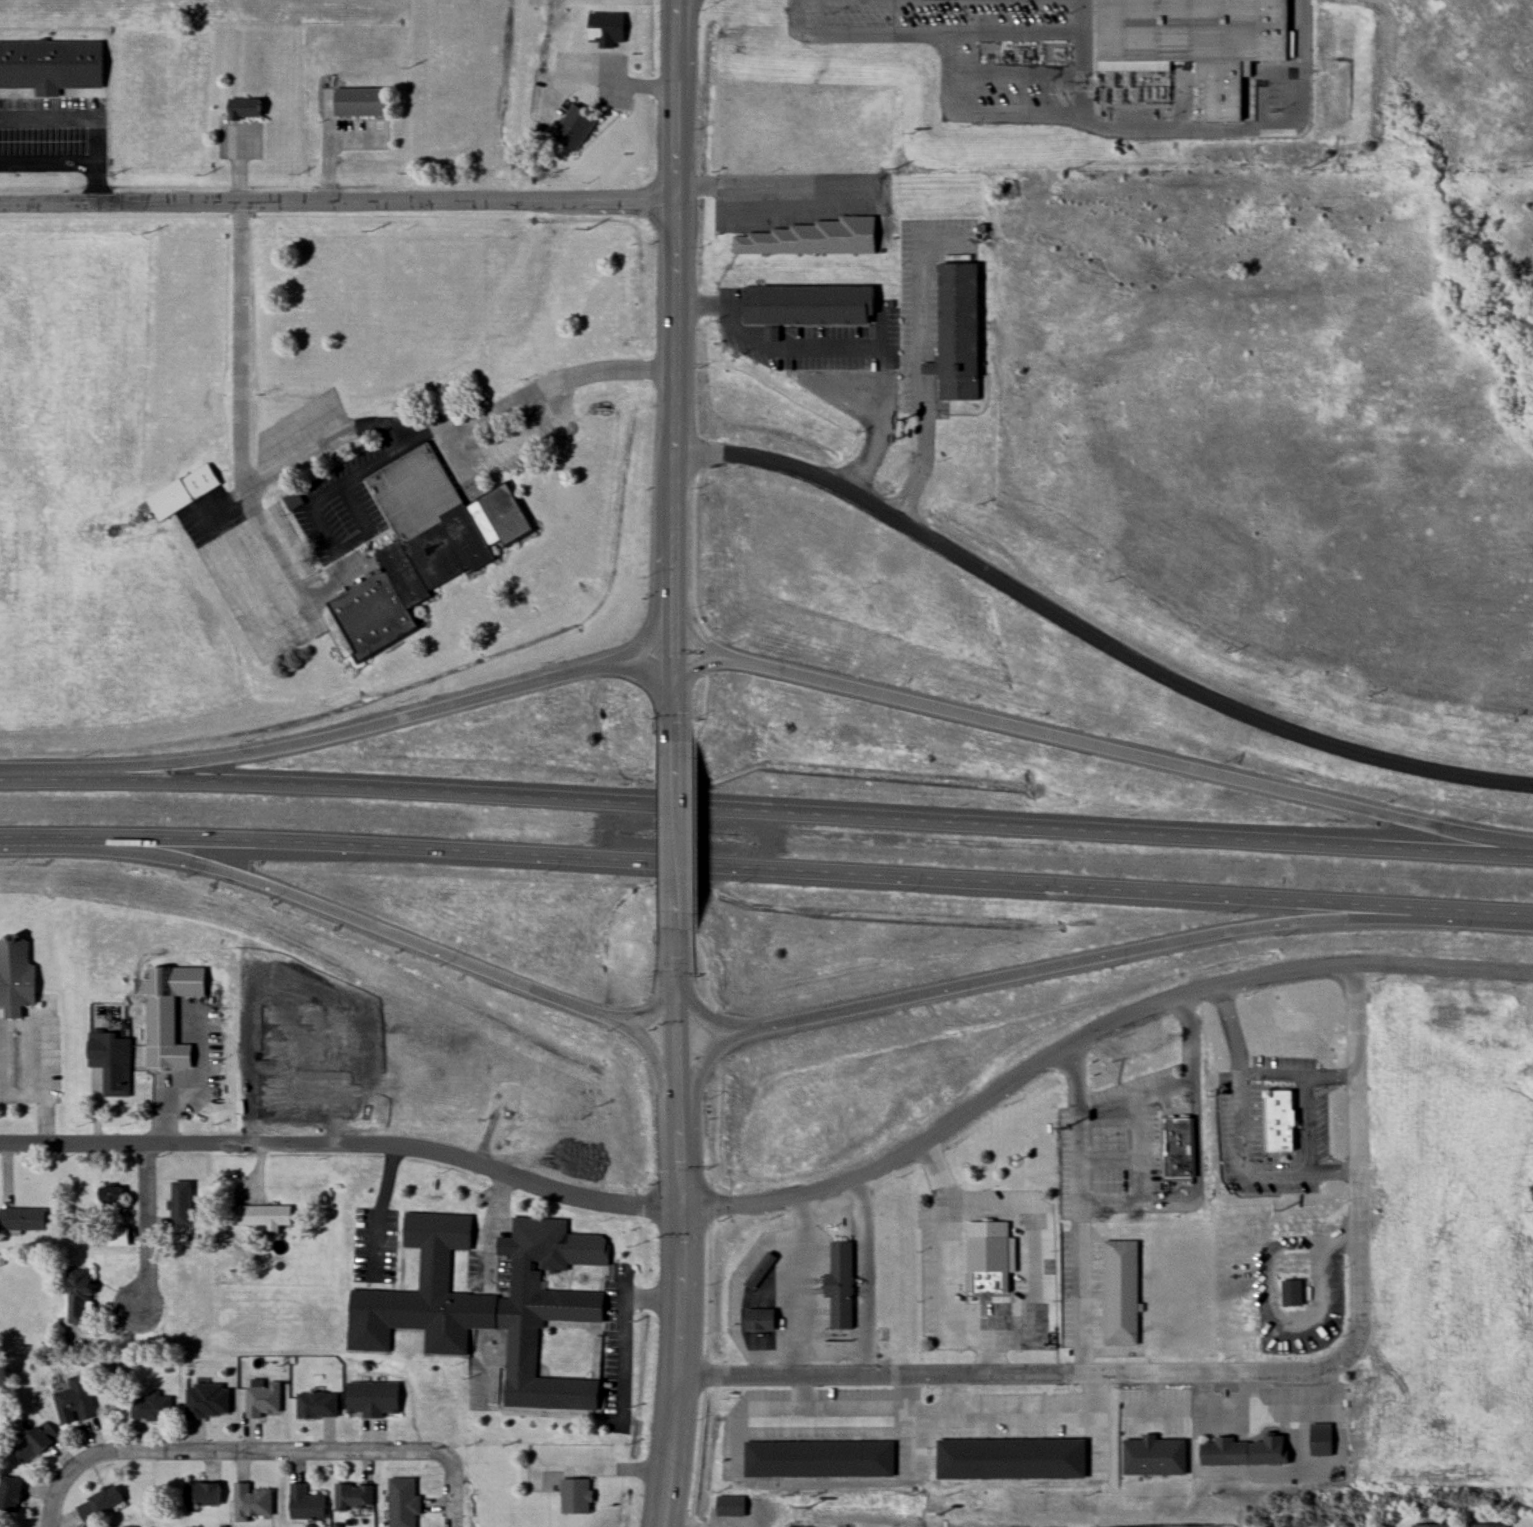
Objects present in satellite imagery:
road: (799, 16)
road: (1082, 19)
building: (606, 29)
road: (940, 35)
building: (1194, 41)
parking lot: (987, 52)
building: (52, 63)
road: (689, 66)
road: (1082, 91)
road: (1297, 100)
building: (362, 102)
building: (244, 108)
road: (92, 111)
building: (575, 128)
road: (1234, 128)
road: (1138, 131)
parking lot: (53, 133)
road: (47, 161)
road: (775, 194)
road: (338, 202)
building: (818, 236)
building: (815, 296)
building: (963, 320)
road: (918, 326)
road: (676, 328)
building: (772, 334)
road: (810, 378)
road: (330, 445)
road: (513, 447)
road: (921, 473)
building: (183, 492)
building: (422, 548)
road: (354, 576)
traffic signals: (674, 576)
road: (693, 620)
road: (685, 627)
road: (1096, 637)
traffic signals: (673, 657)
road: (692, 682)
road: (675, 686)
traffic signals: (677, 715)
road: (360, 725)
road: (678, 739)
road: (1129, 752)
road: (766, 812)
road: (678, 839)
road: (697, 841)
road: (702, 864)
road: (1469, 912)
road: (347, 916)
road: (677, 945)
road: (1074, 964)
road: (704, 965)
building: (16, 976)
traffic signals: (678, 976)
road: (658, 1004)
building: (165, 1016)
road: (699, 1018)
road: (1089, 1032)
road: (679, 1040)
road: (695, 1043)
road: (704, 1059)
building: (113, 1060)
road: (658, 1060)
road: (1301, 1078)
road: (23, 1082)
road: (1136, 1099)
traffic signals: (681, 1104)
road: (159, 1114)
building: (1280, 1120)
road: (710, 1133)
road: (1243, 1139)
building: (1179, 1146)
road: (344, 1147)
road: (1198, 1157)
building: (112, 1202)
building: (181, 1204)
road: (1079, 1207)
traffic signals: (681, 1211)
road: (705, 1211)
road: (378, 1213)
building: (265, 1216)
building: (22, 1218)
road: (146, 1229)
road: (492, 1233)
building: (119, 1237)
building: (987, 1265)
building: (760, 1271)
road: (862, 1275)
building: (839, 1284)
road: (735, 1291)
building: (1119, 1291)
building: (1292, 1292)
building: (79, 1293)
road: (703, 1298)
building: (491, 1303)
road: (485, 1310)
road: (681, 1316)
building: (759, 1319)
road: (624, 1333)
road: (485, 1364)
road: (1213, 1370)
road: (699, 1380)
building: (263, 1398)
building: (372, 1399)
building: (76, 1400)
building: (208, 1400)
building: (317, 1405)
building: (151, 1407)
road: (1156, 1430)
building: (1304, 1439)
building: (34, 1443)
road: (737, 1447)
road: (260, 1452)
building: (1223, 1452)
building: (1154, 1455)
building: (819, 1458)
building: (1010, 1458)
road: (694, 1460)
building: (202, 1492)
building: (10, 1494)
building: (575, 1496)
building: (353, 1497)
building: (252, 1501)
building: (402, 1501)
building: (100, 1503)
building: (305, 1503)
building: (730, 1506)
road: (748, 1523)
building: (1430, 1525)
building: (1489, 1525)

